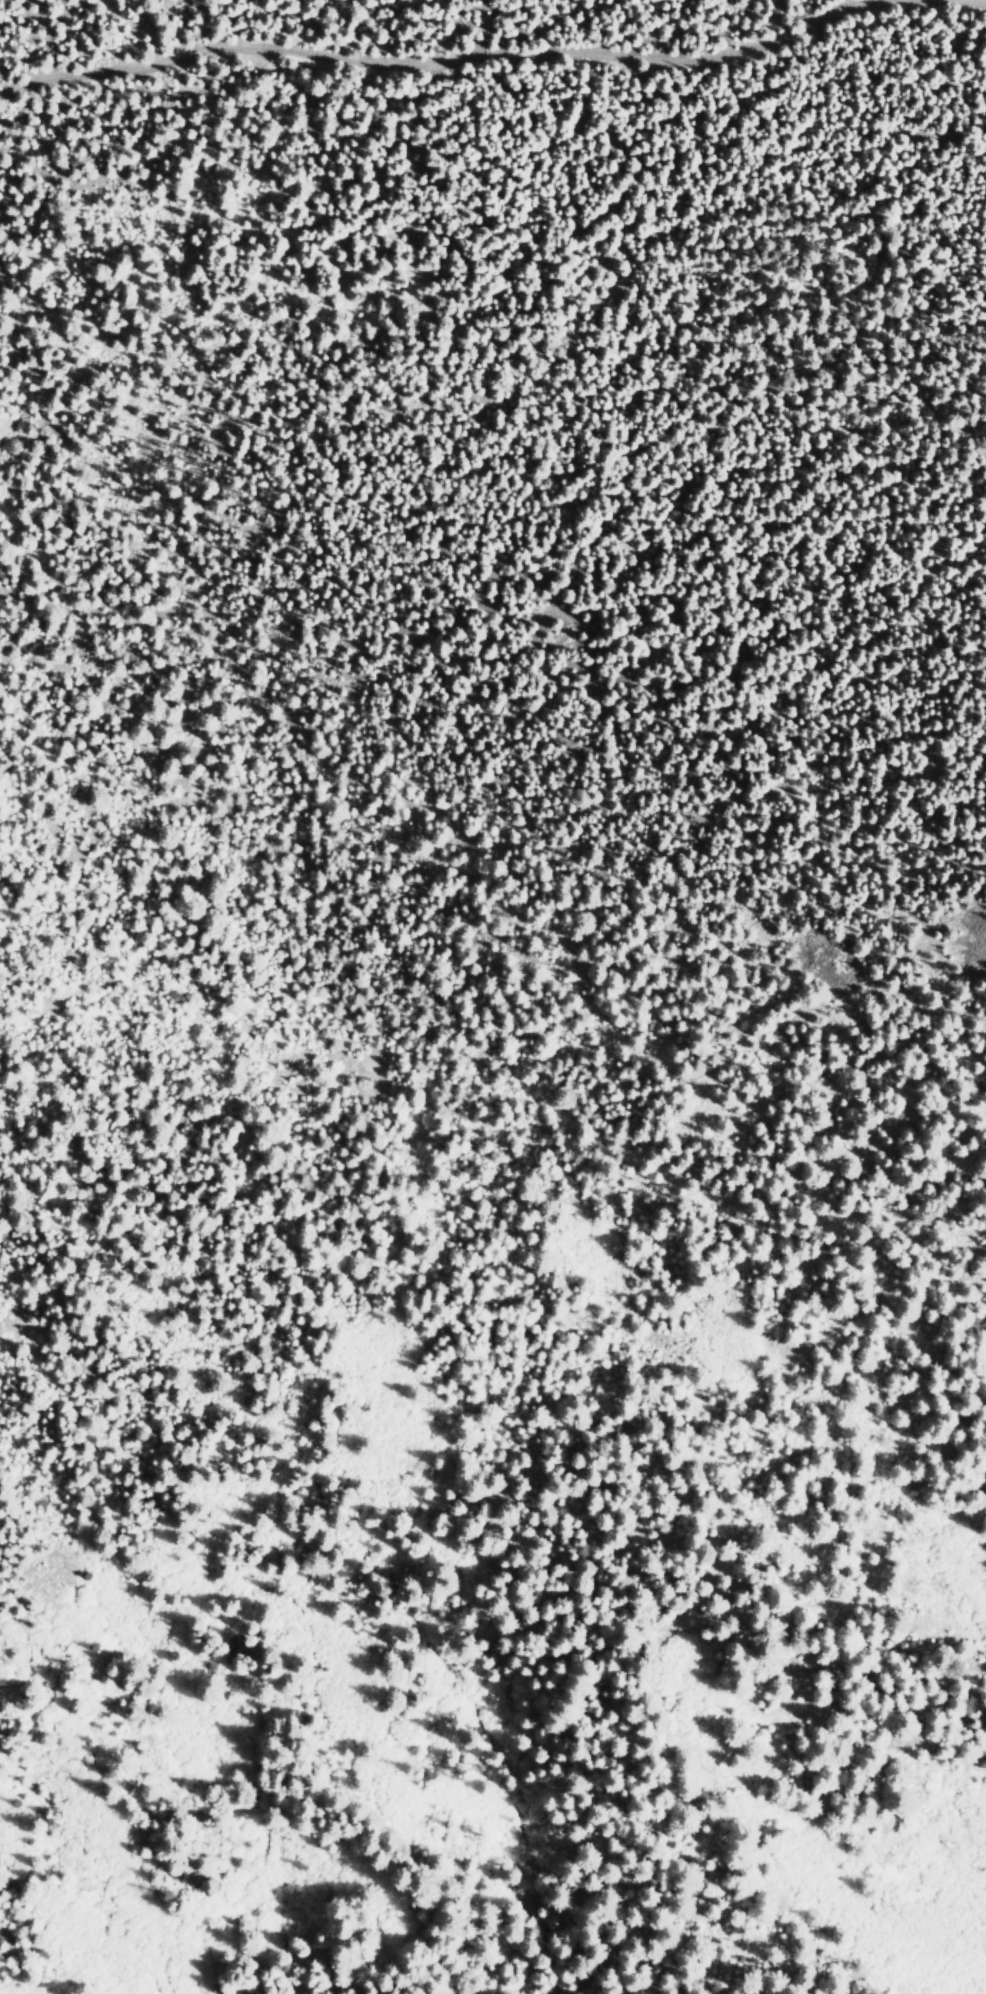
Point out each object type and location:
road: (457, 60)

